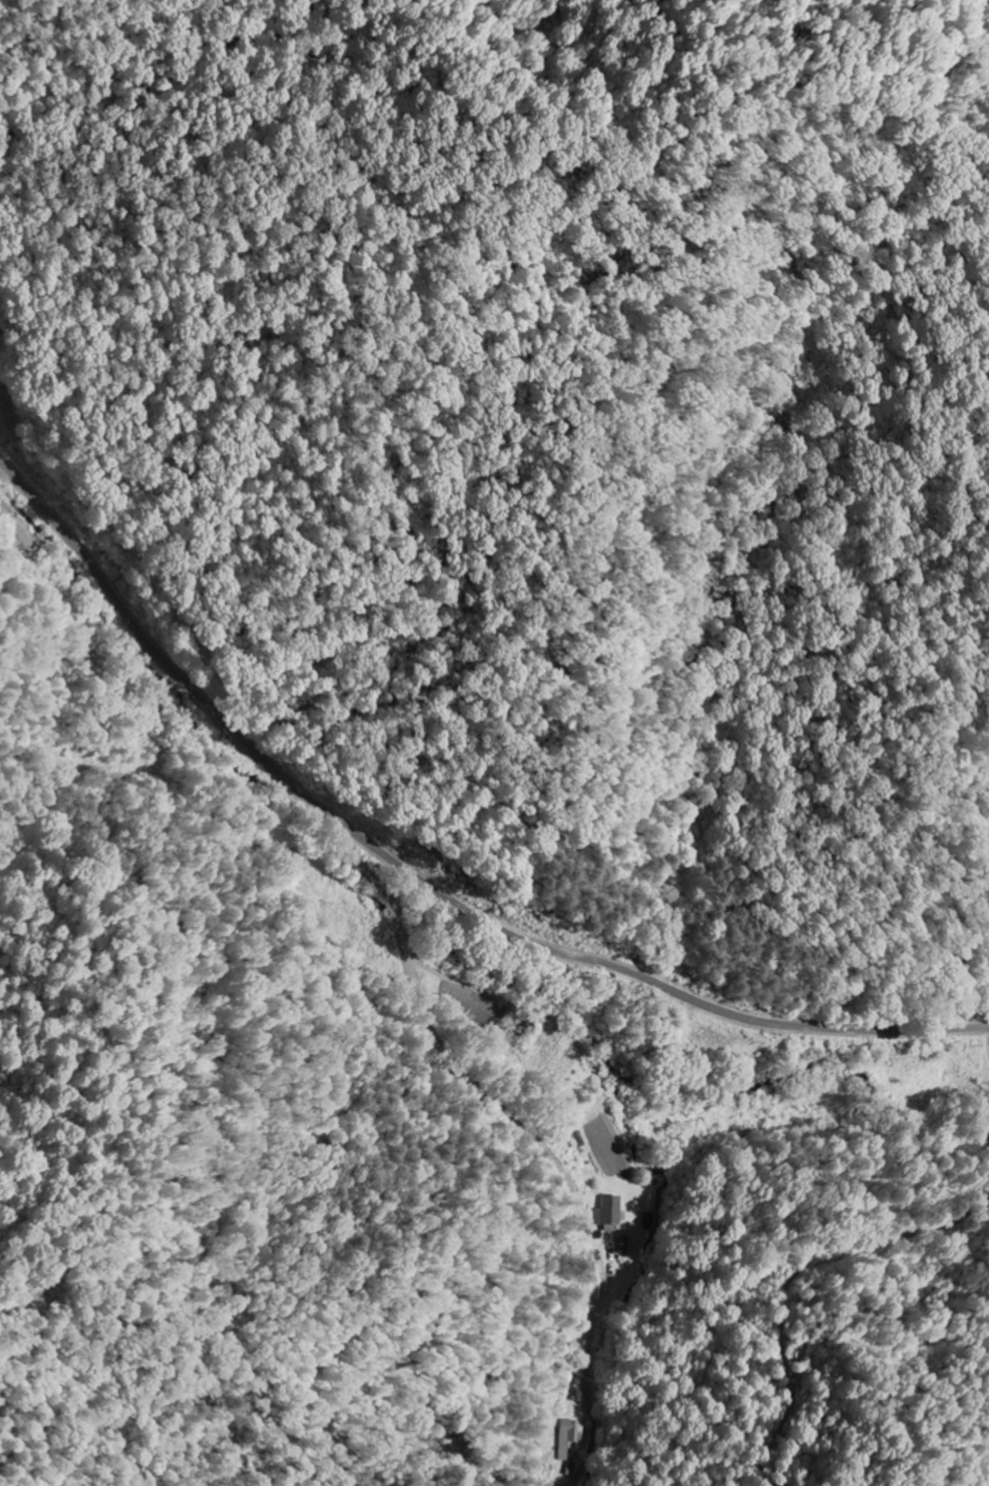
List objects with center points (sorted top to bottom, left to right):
building: (20, 539)
road: (420, 879)
road: (527, 1129)
building: (612, 1213)

